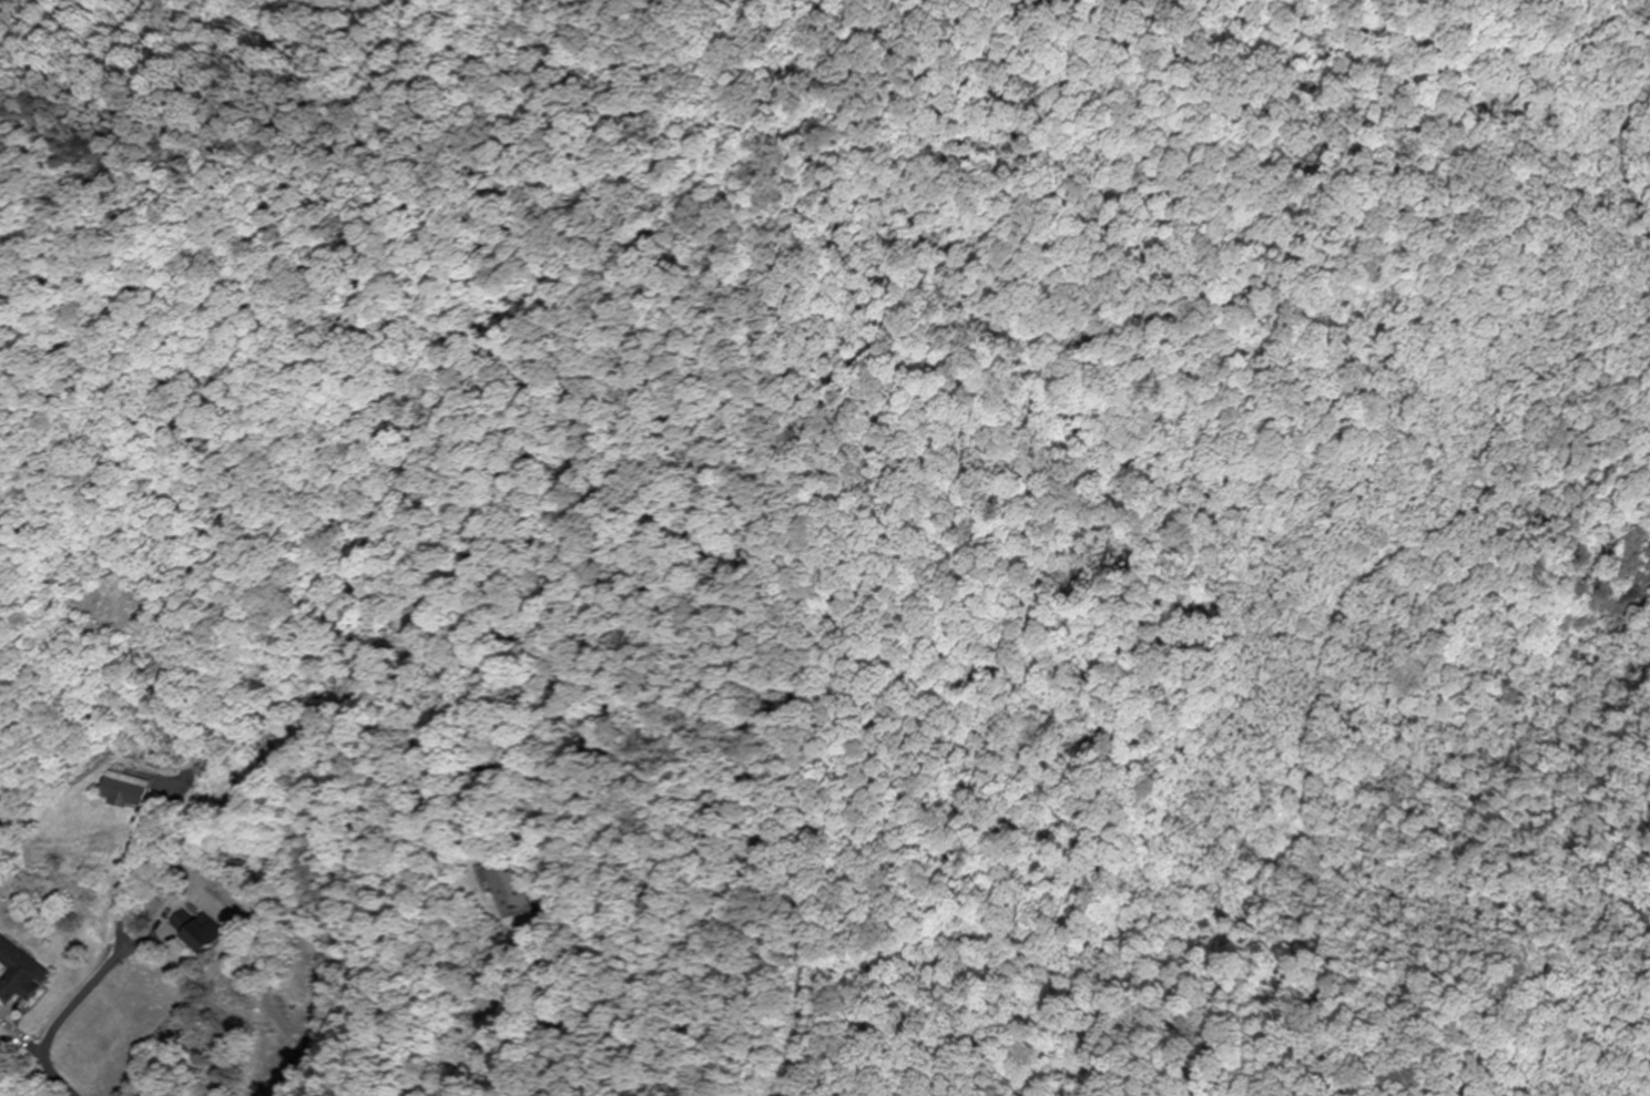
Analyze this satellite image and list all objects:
road: (348, 430)
road: (170, 770)
building: (120, 791)
building: (508, 889)
building: (196, 932)
road: (166, 967)
building: (21, 974)
building: (1, 1027)

